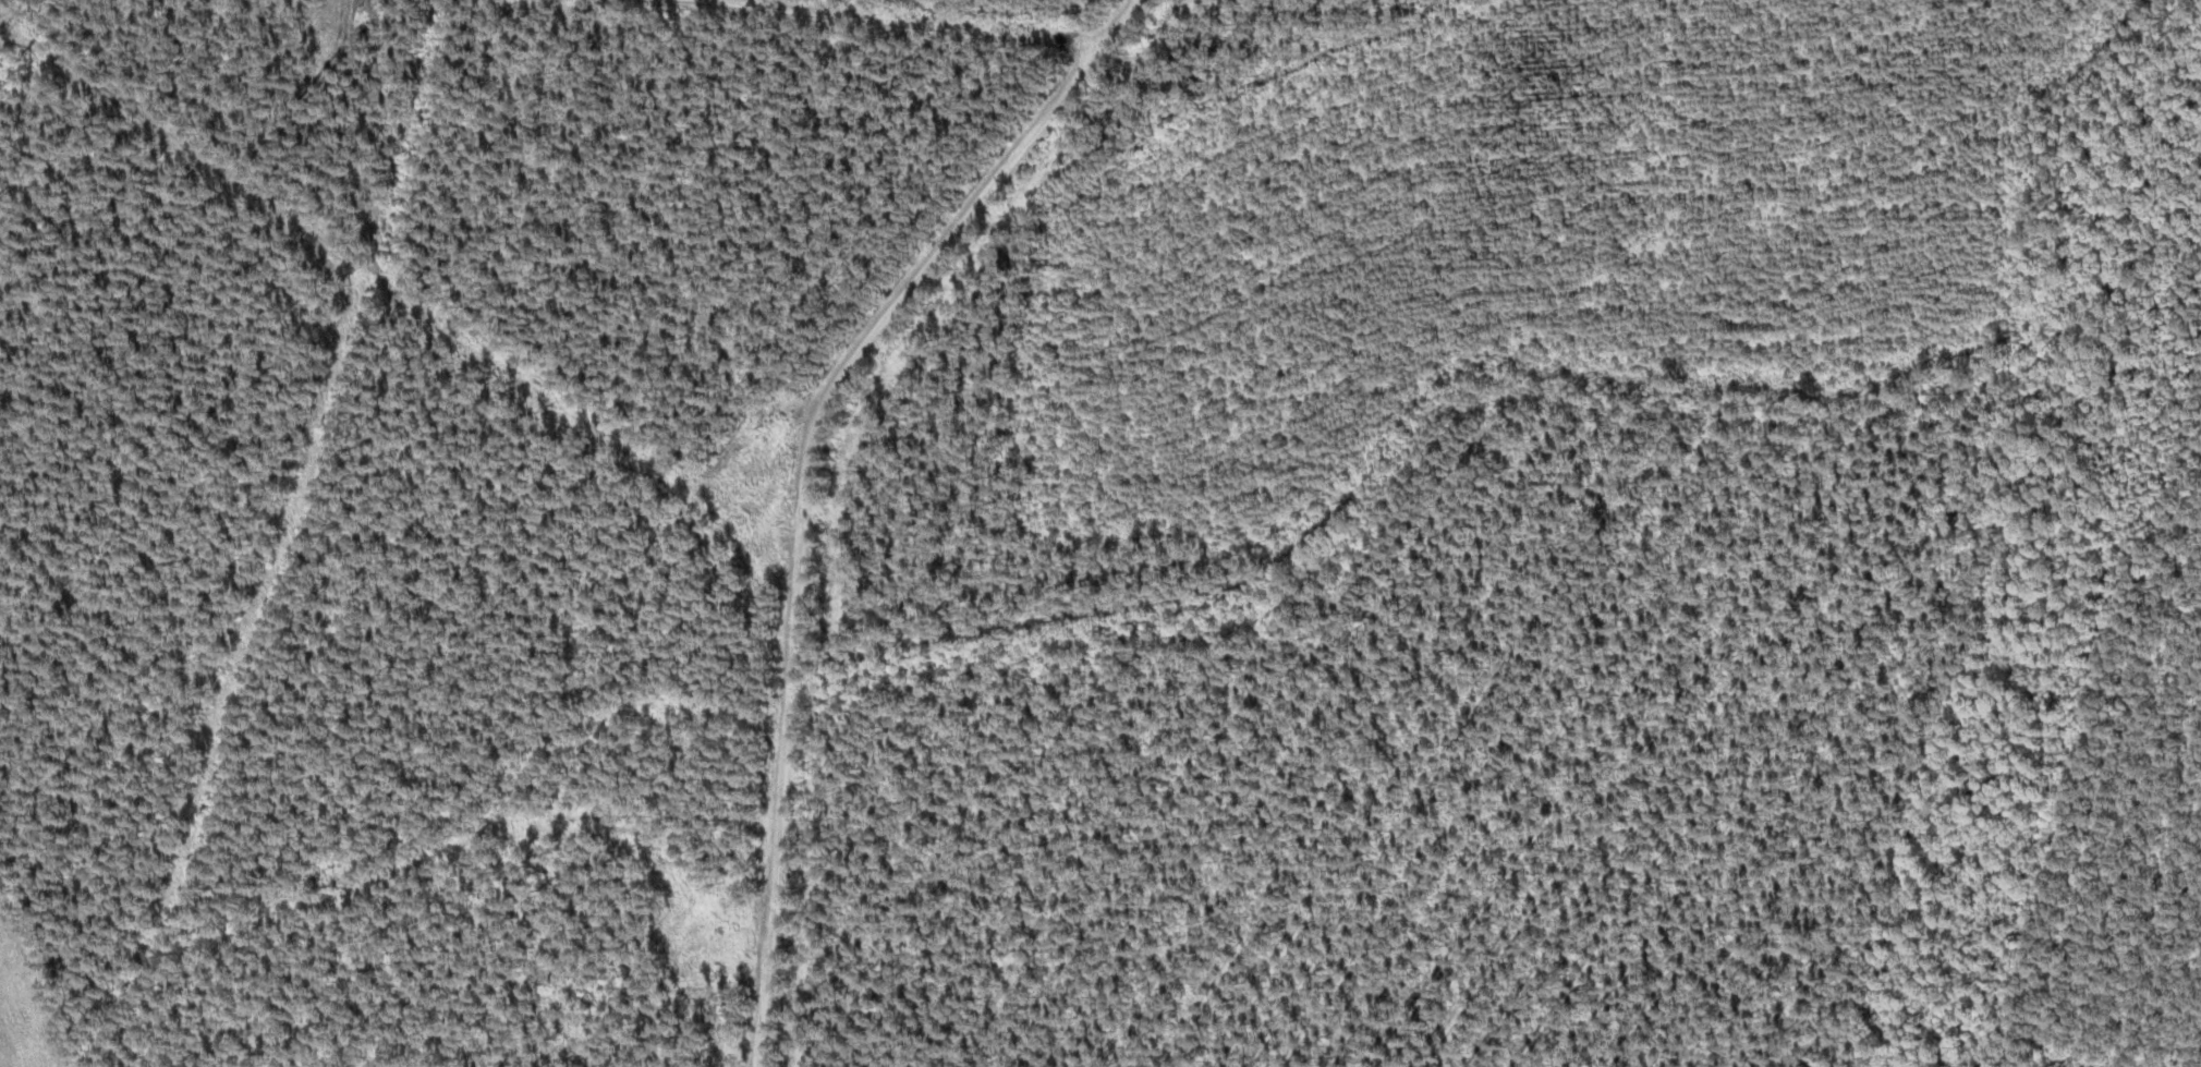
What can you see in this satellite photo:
road: (849, 26)
road: (823, 482)

